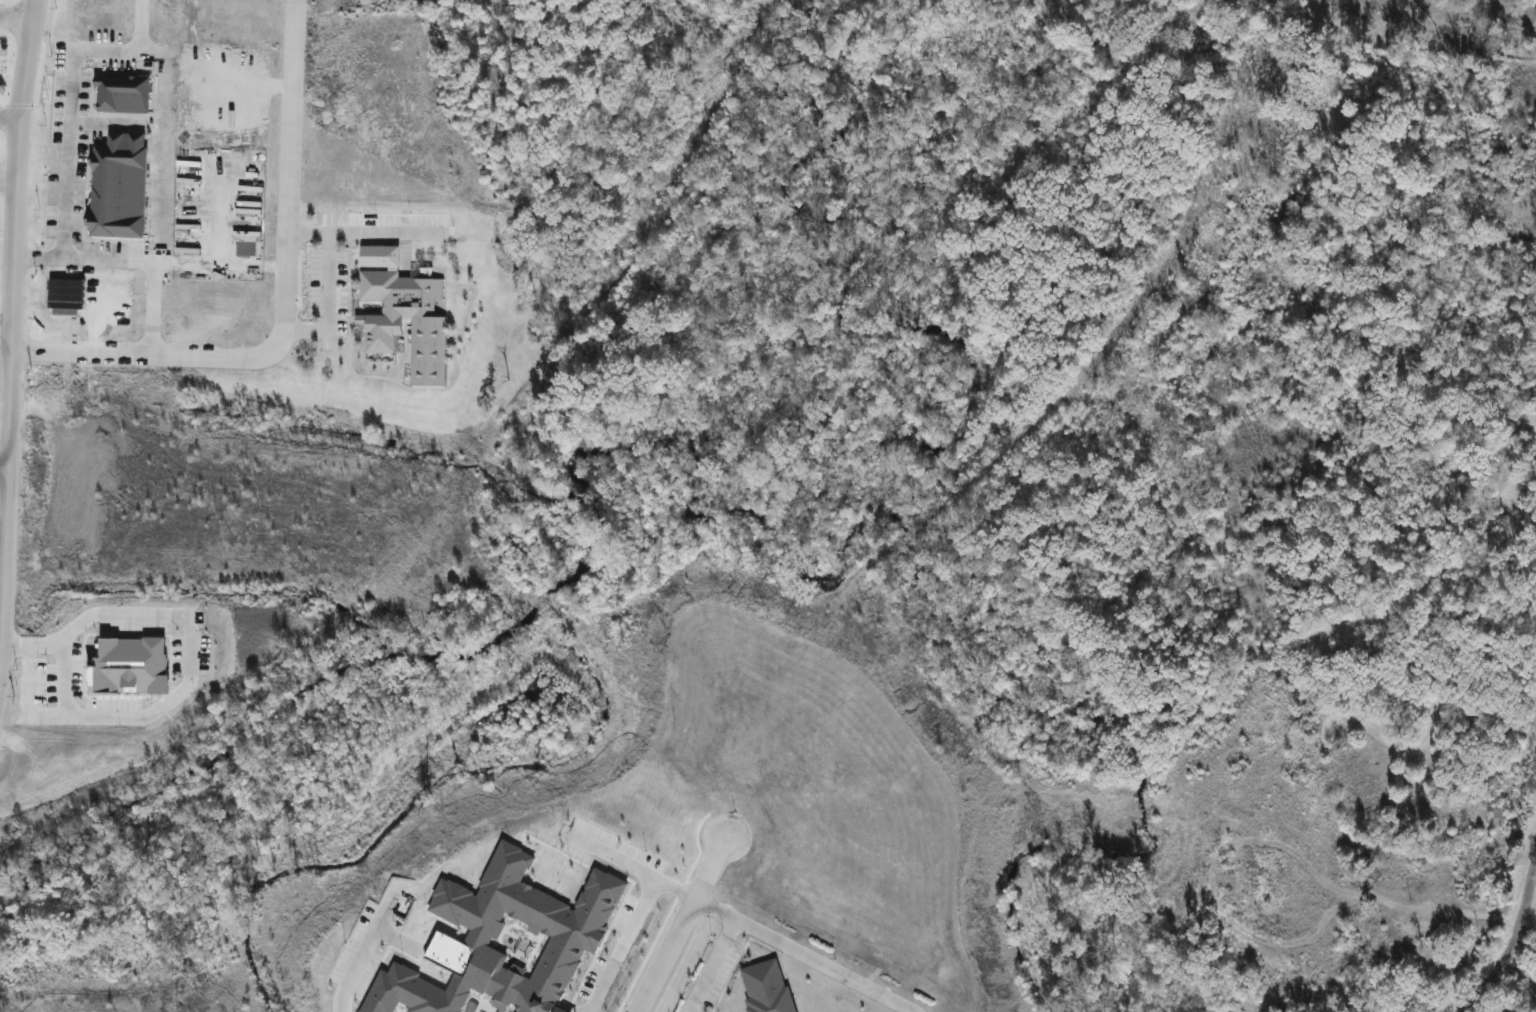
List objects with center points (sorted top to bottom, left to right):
road: (14, 19)
building: (119, 94)
road: (7, 178)
building: (116, 187)
road: (61, 192)
road: (376, 234)
road: (216, 256)
road: (34, 258)
road: (325, 283)
building: (64, 294)
road: (281, 309)
building: (404, 313)
road: (9, 325)
road: (4, 332)
road: (2, 463)
road: (740, 916)
road: (679, 921)
road: (1527, 924)
road: (1514, 941)
road: (619, 943)
road: (364, 948)
road: (705, 961)
road: (690, 1005)

